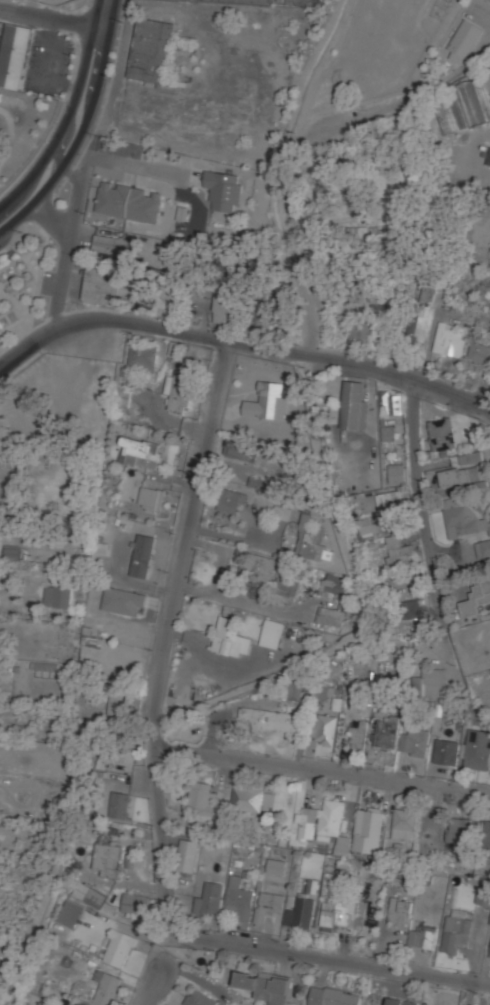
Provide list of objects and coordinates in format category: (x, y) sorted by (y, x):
road: (50, 17)
building: (463, 40)
building: (150, 50)
building: (14, 53)
road: (81, 105)
building: (488, 159)
road: (131, 163)
building: (224, 190)
building: (129, 202)
road: (14, 209)
road: (48, 217)
road: (68, 237)
building: (113, 244)
park: (25, 280)
building: (101, 286)
building: (225, 305)
building: (418, 325)
building: (362, 332)
building: (449, 340)
road: (241, 341)
building: (479, 353)
building: (143, 355)
building: (180, 388)
building: (123, 396)
building: (354, 404)
building: (389, 411)
building: (442, 433)
building: (241, 448)
building: (137, 449)
building: (471, 456)
building: (397, 471)
building: (459, 475)
building: (259, 482)
building: (151, 498)
building: (229, 499)
building: (391, 500)
road: (417, 504)
building: (283, 511)
building: (462, 517)
building: (367, 526)
building: (311, 539)
building: (398, 549)
building: (483, 550)
building: (11, 551)
building: (143, 554)
building: (258, 565)
building: (334, 582)
building: (285, 587)
building: (58, 594)
building: (476, 596)
building: (124, 600)
road: (252, 606)
building: (409, 608)
building: (329, 618)
building: (273, 632)
road: (166, 634)
building: (230, 637)
road: (218, 669)
building: (430, 683)
building: (295, 689)
building: (323, 691)
building: (118, 700)
building: (271, 720)
building: (323, 729)
building: (387, 732)
building: (357, 734)
building: (414, 741)
building: (477, 748)
building: (446, 750)
building: (120, 755)
road: (322, 770)
building: (201, 797)
building: (247, 797)
building: (119, 803)
building: (323, 822)
building: (405, 823)
building: (368, 828)
building: (109, 835)
building: (459, 835)
building: (486, 844)
building: (106, 852)
building: (187, 854)
building: (276, 865)
building: (89, 893)
building: (481, 896)
building: (239, 897)
building: (209, 898)
building: (137, 903)
building: (269, 904)
building: (299, 910)
building: (400, 910)
building: (337, 911)
building: (71, 912)
building: (489, 922)
building: (457, 929)
building: (424, 936)
building: (118, 947)
road: (332, 956)
building: (489, 956)
building: (265, 984)
road: (156, 985)
building: (107, 986)
building: (333, 995)
building: (201, 998)
building: (401, 1001)
building: (43, 1003)
building: (80, 1004)

